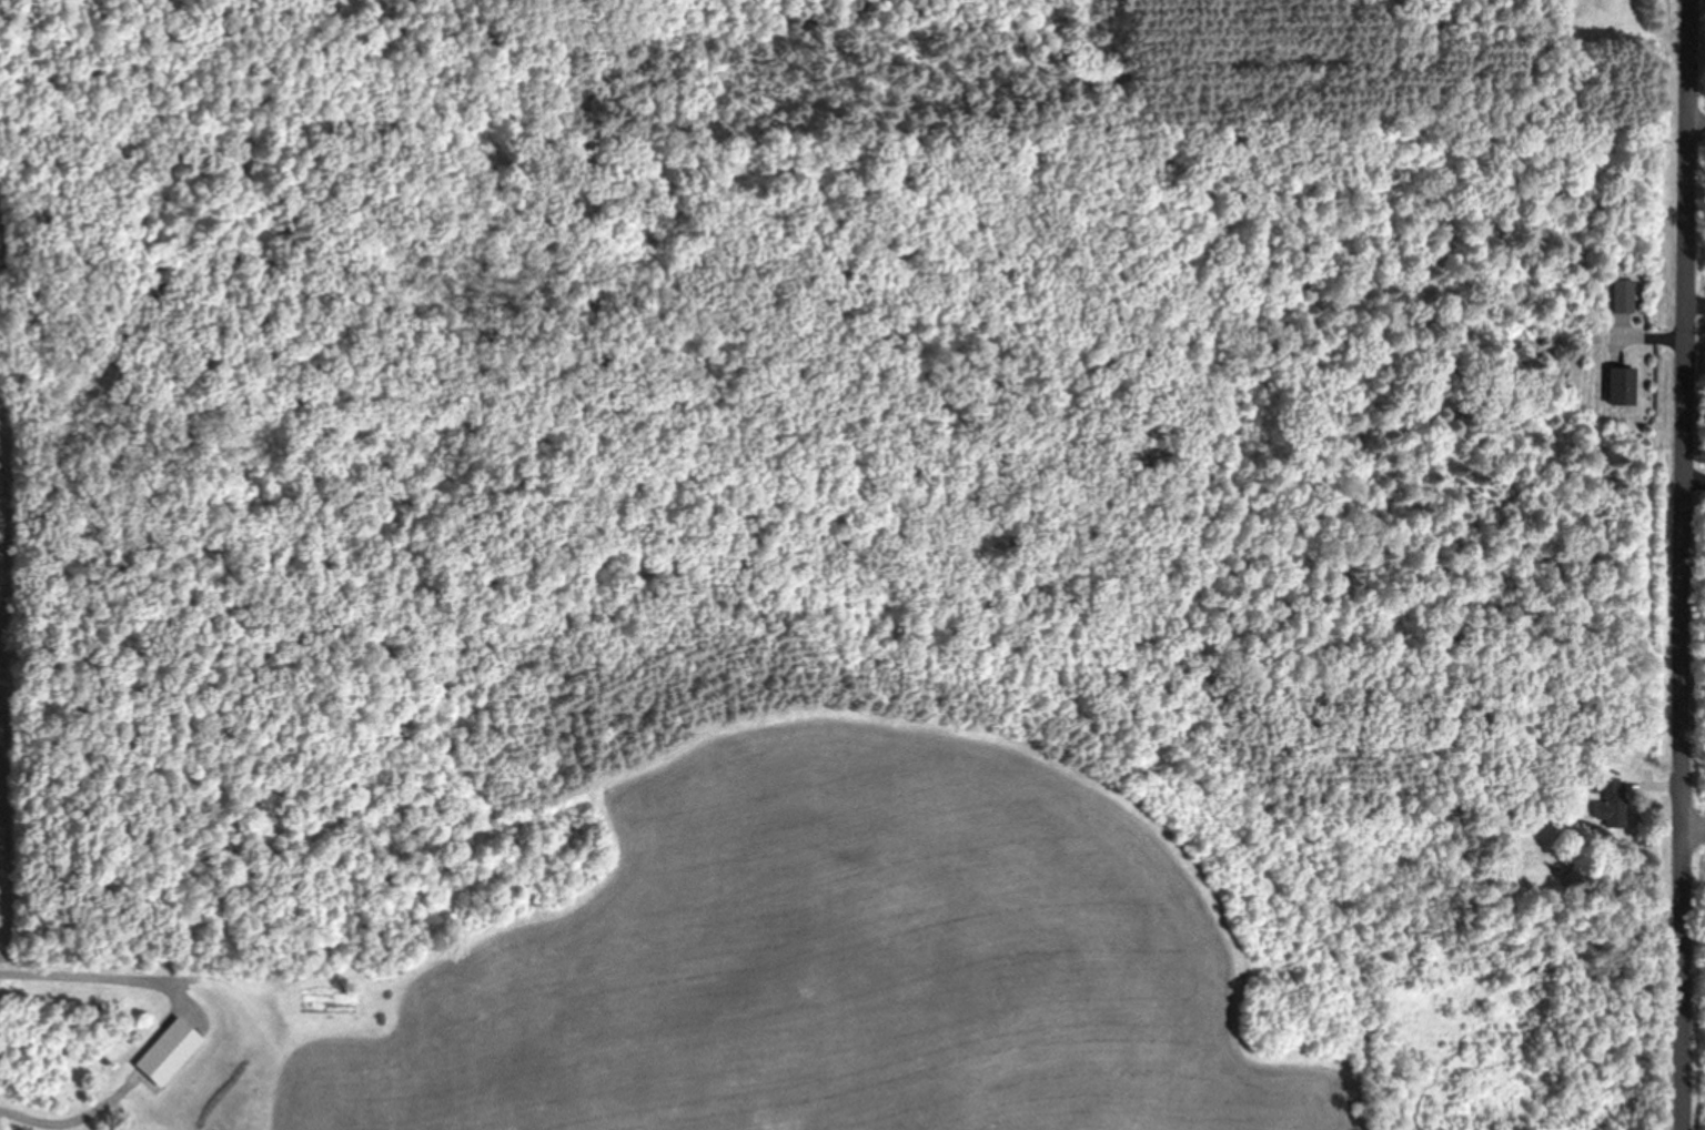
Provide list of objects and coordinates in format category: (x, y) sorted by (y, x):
road: (1696, 119)
building: (1621, 295)
building: (1618, 385)
road: (1682, 564)
building: (1605, 803)
road: (1693, 834)
road: (100, 978)
road: (69, 1123)

